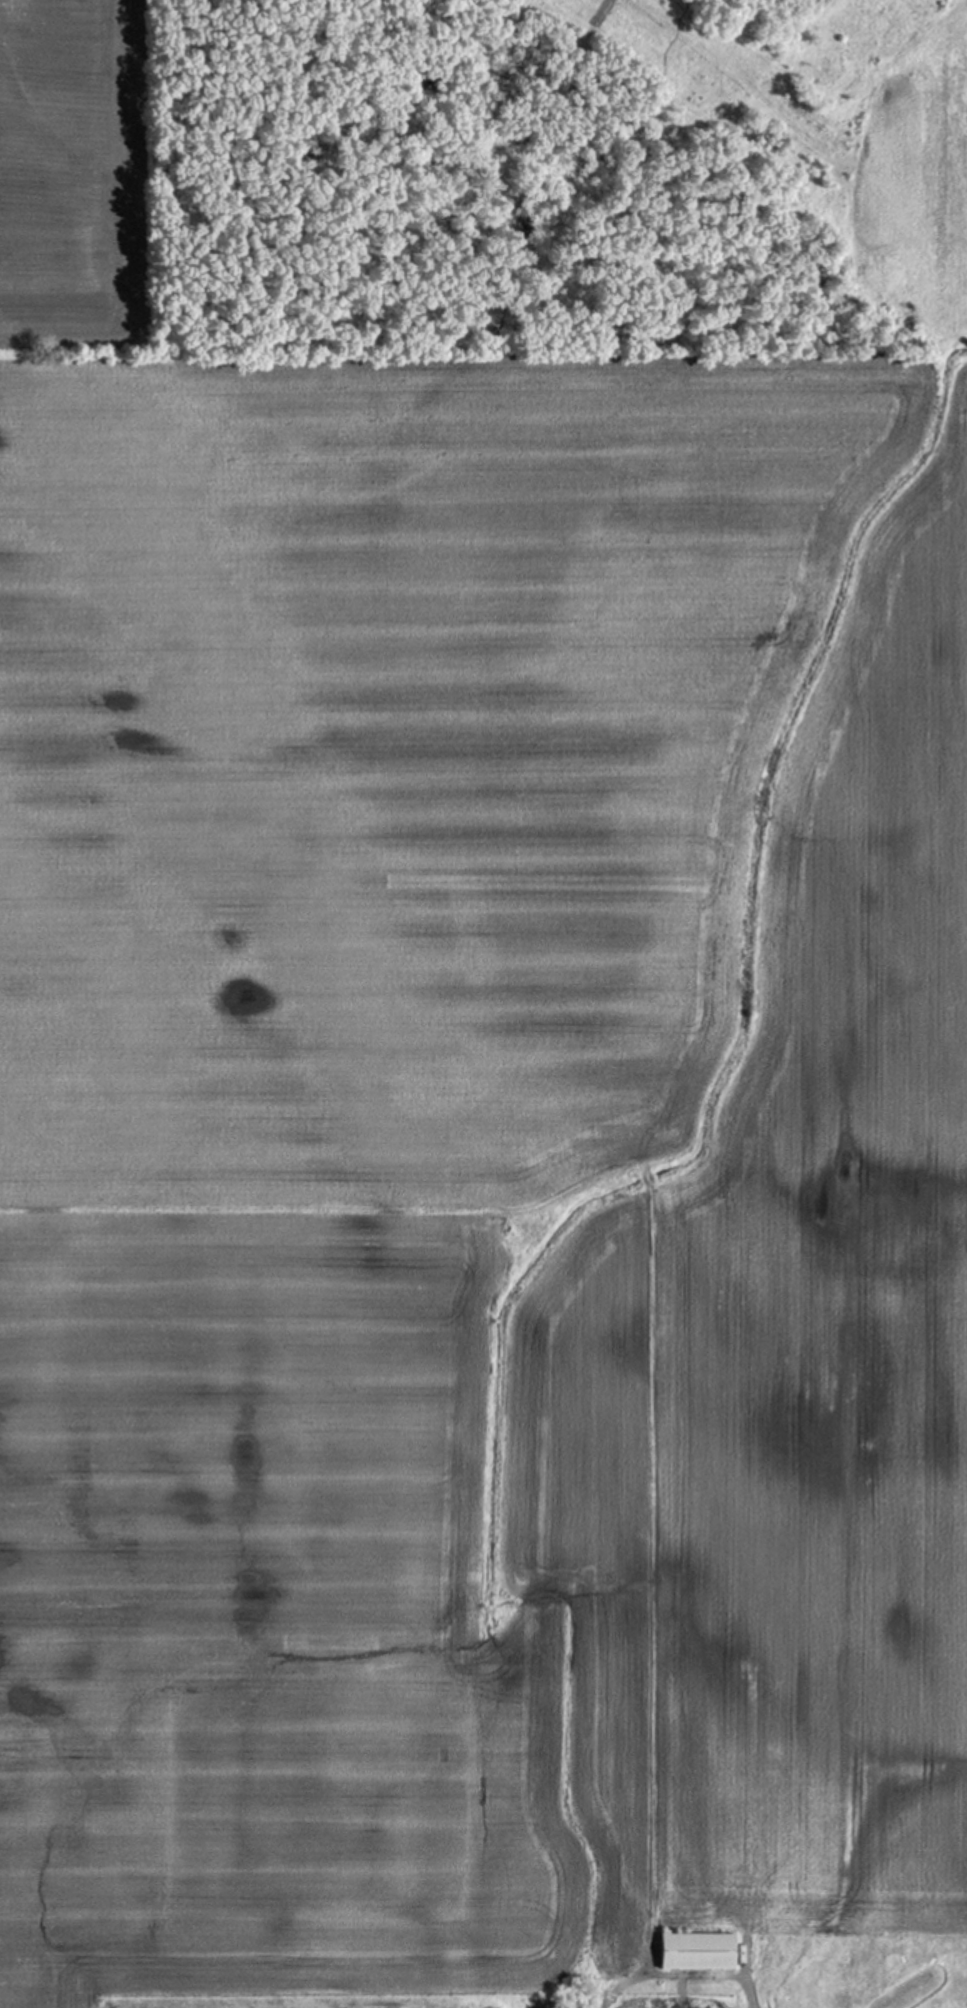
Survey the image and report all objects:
building: (694, 1951)

